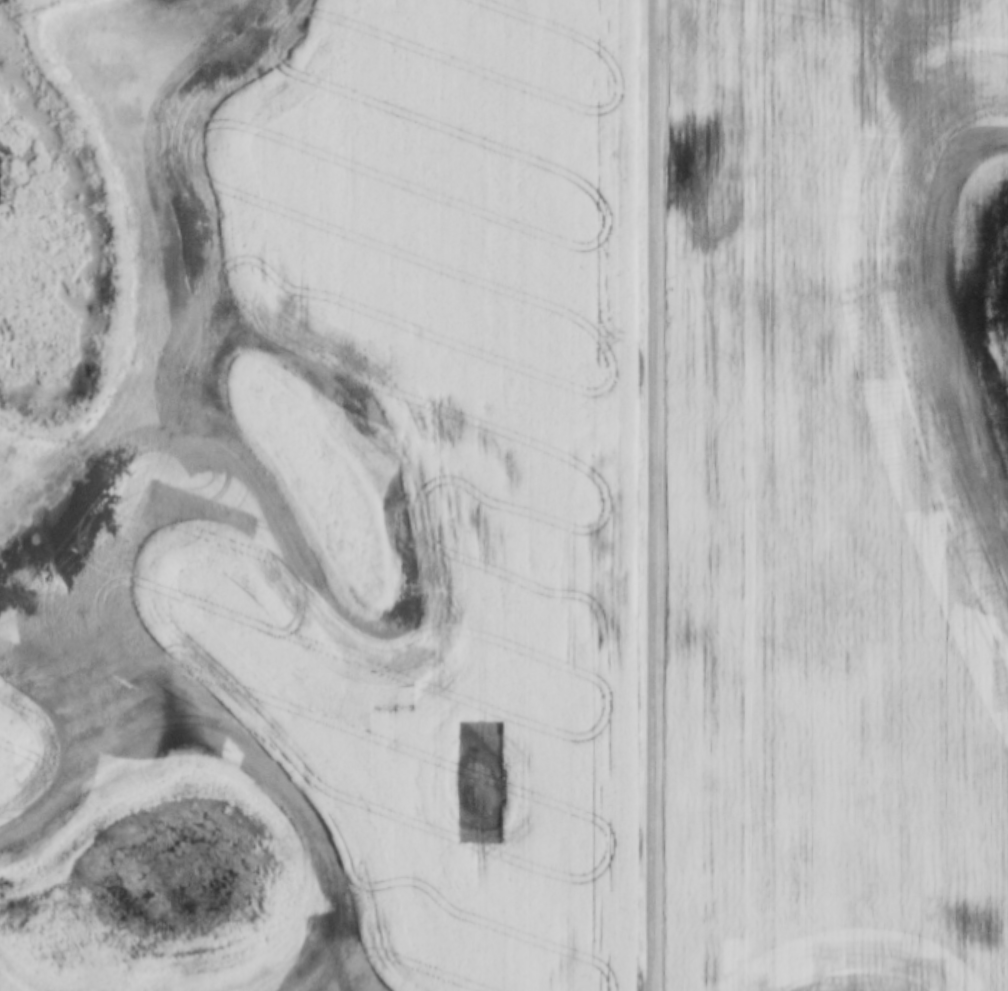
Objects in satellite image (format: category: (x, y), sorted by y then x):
road: (650, 495)
building: (891, 932)
building: (831, 933)

